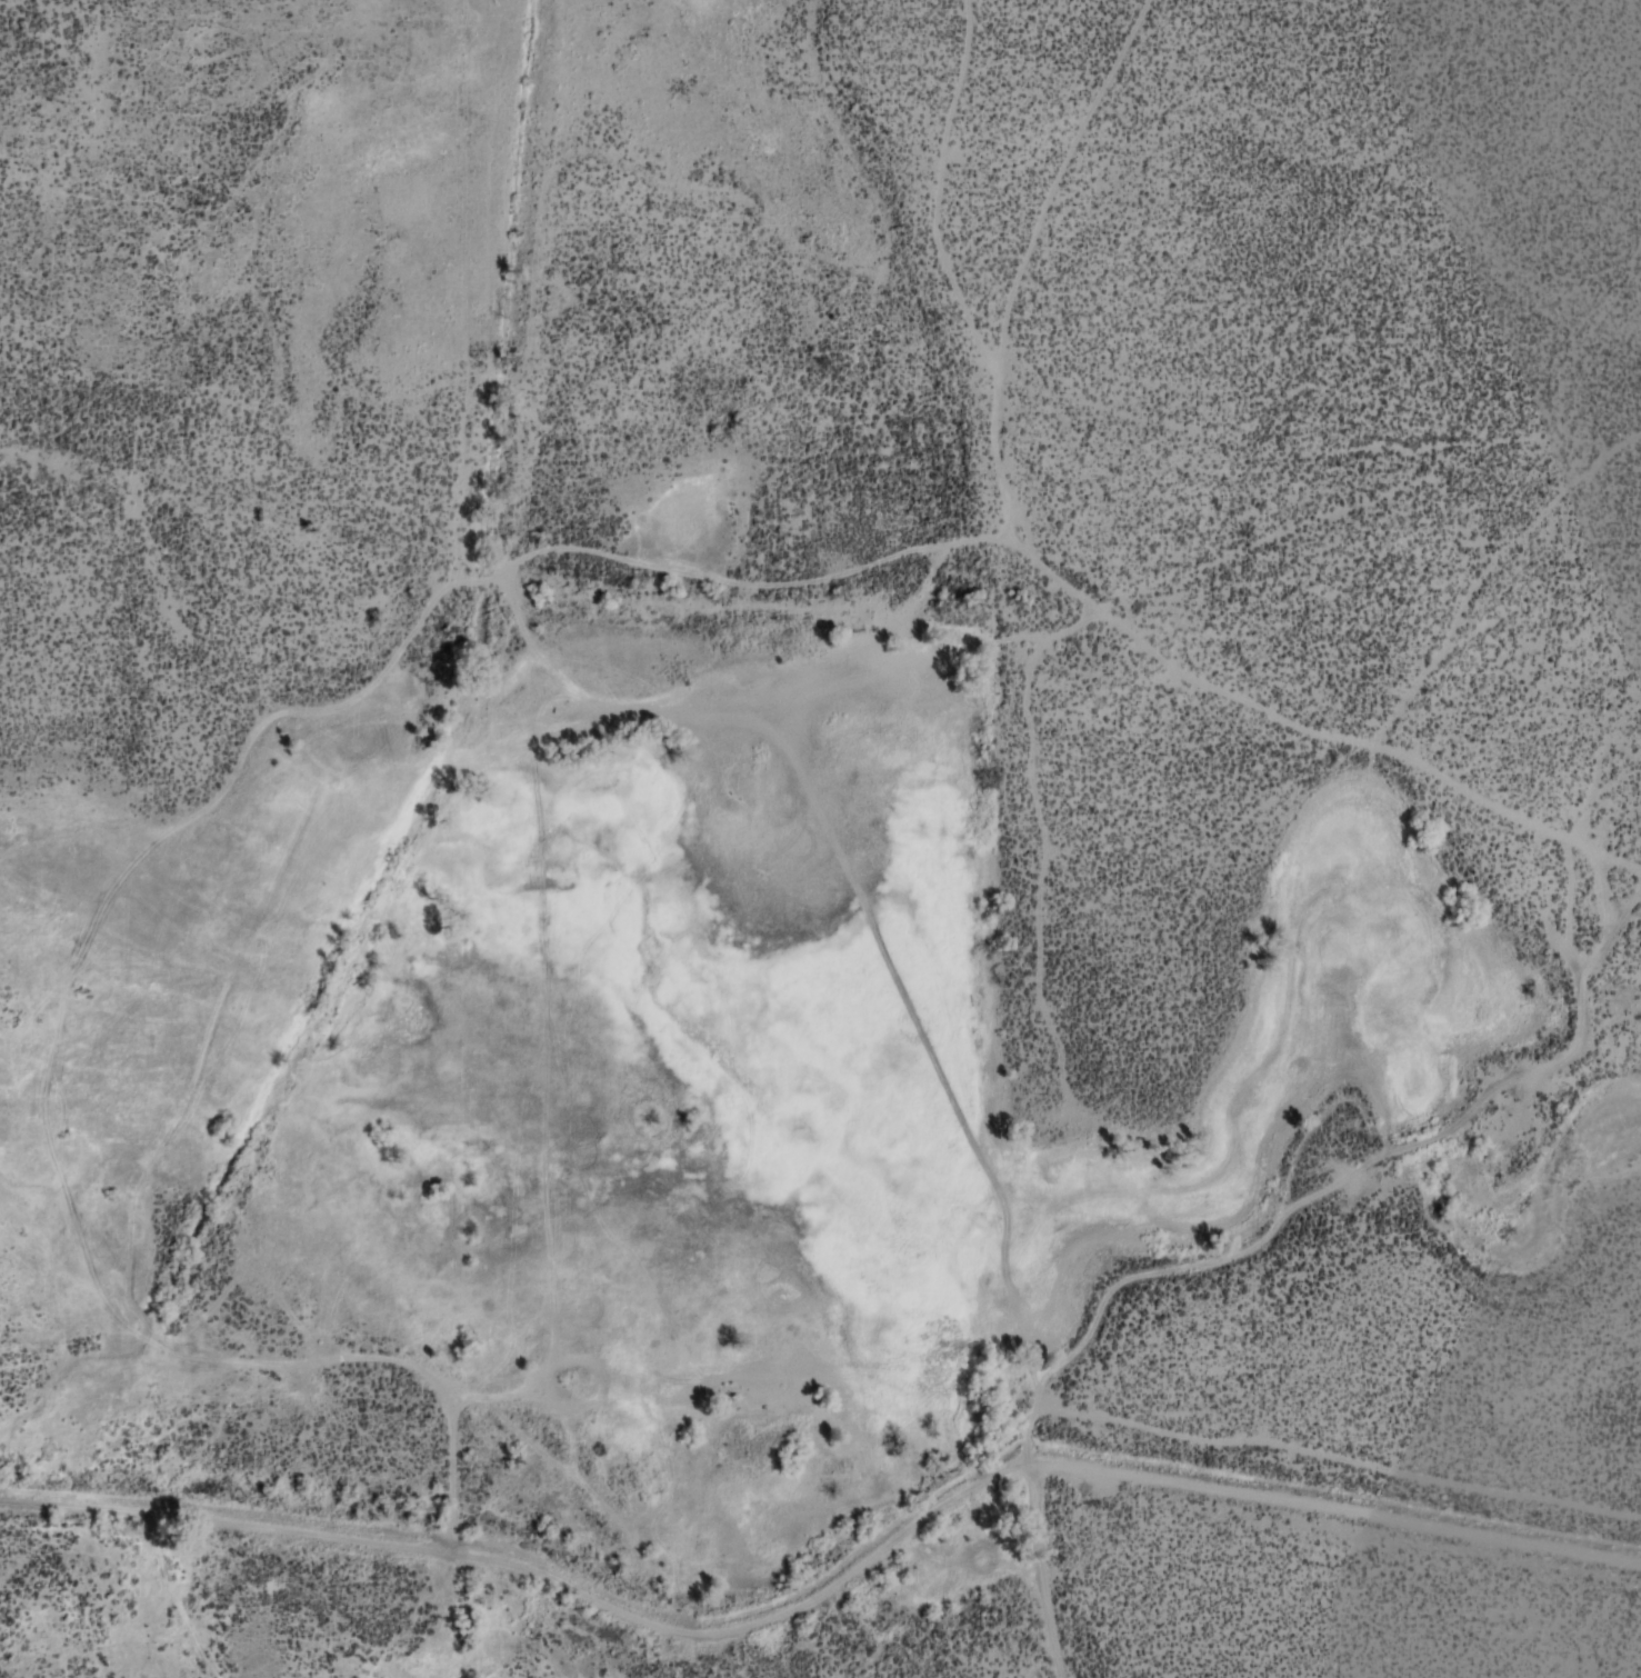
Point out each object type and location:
road: (1334, 1516)
road: (638, 1618)

